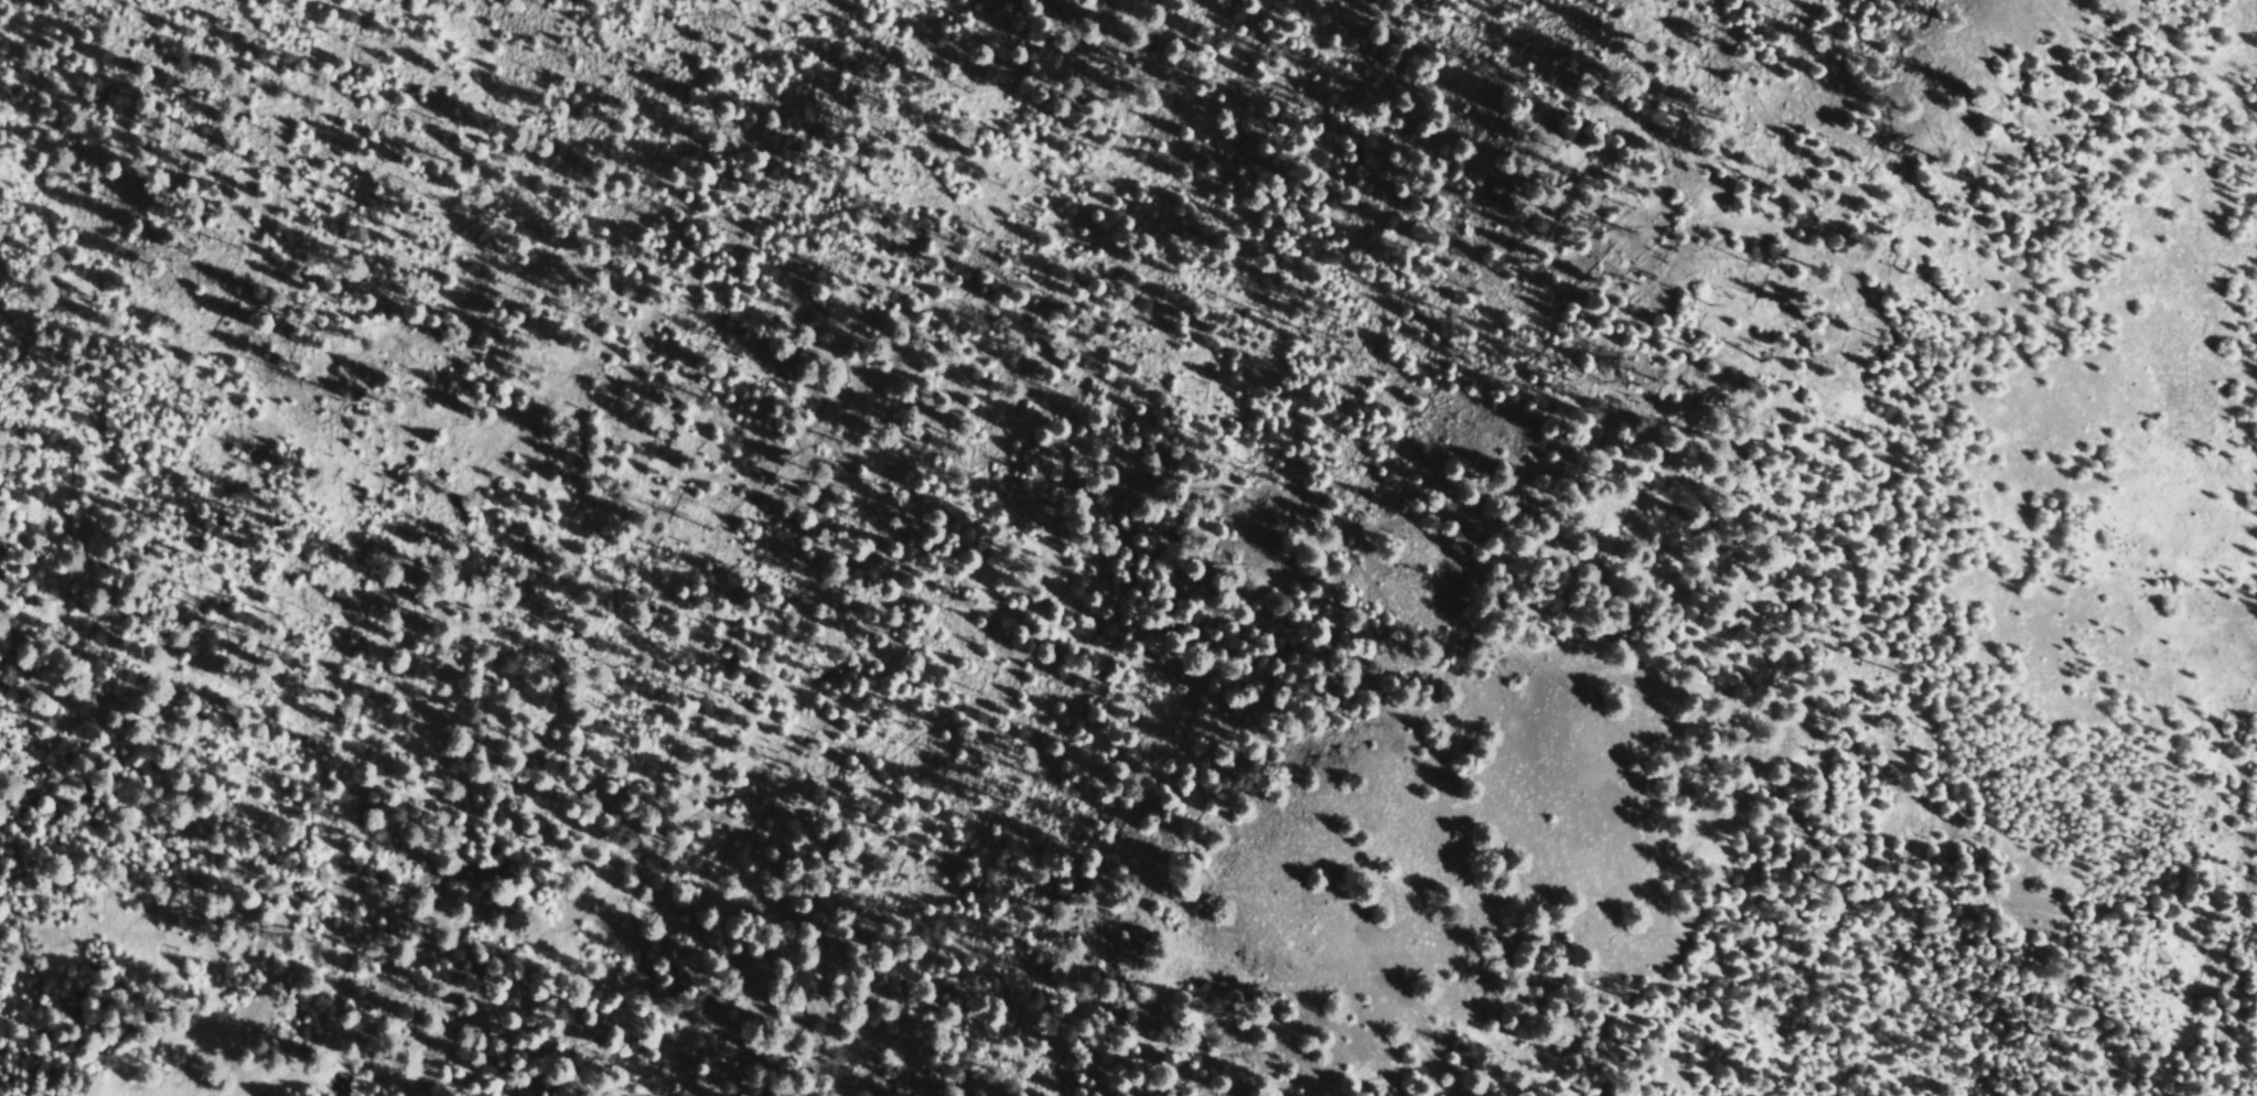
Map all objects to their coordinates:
road: (1215, 490)
road: (577, 1003)

